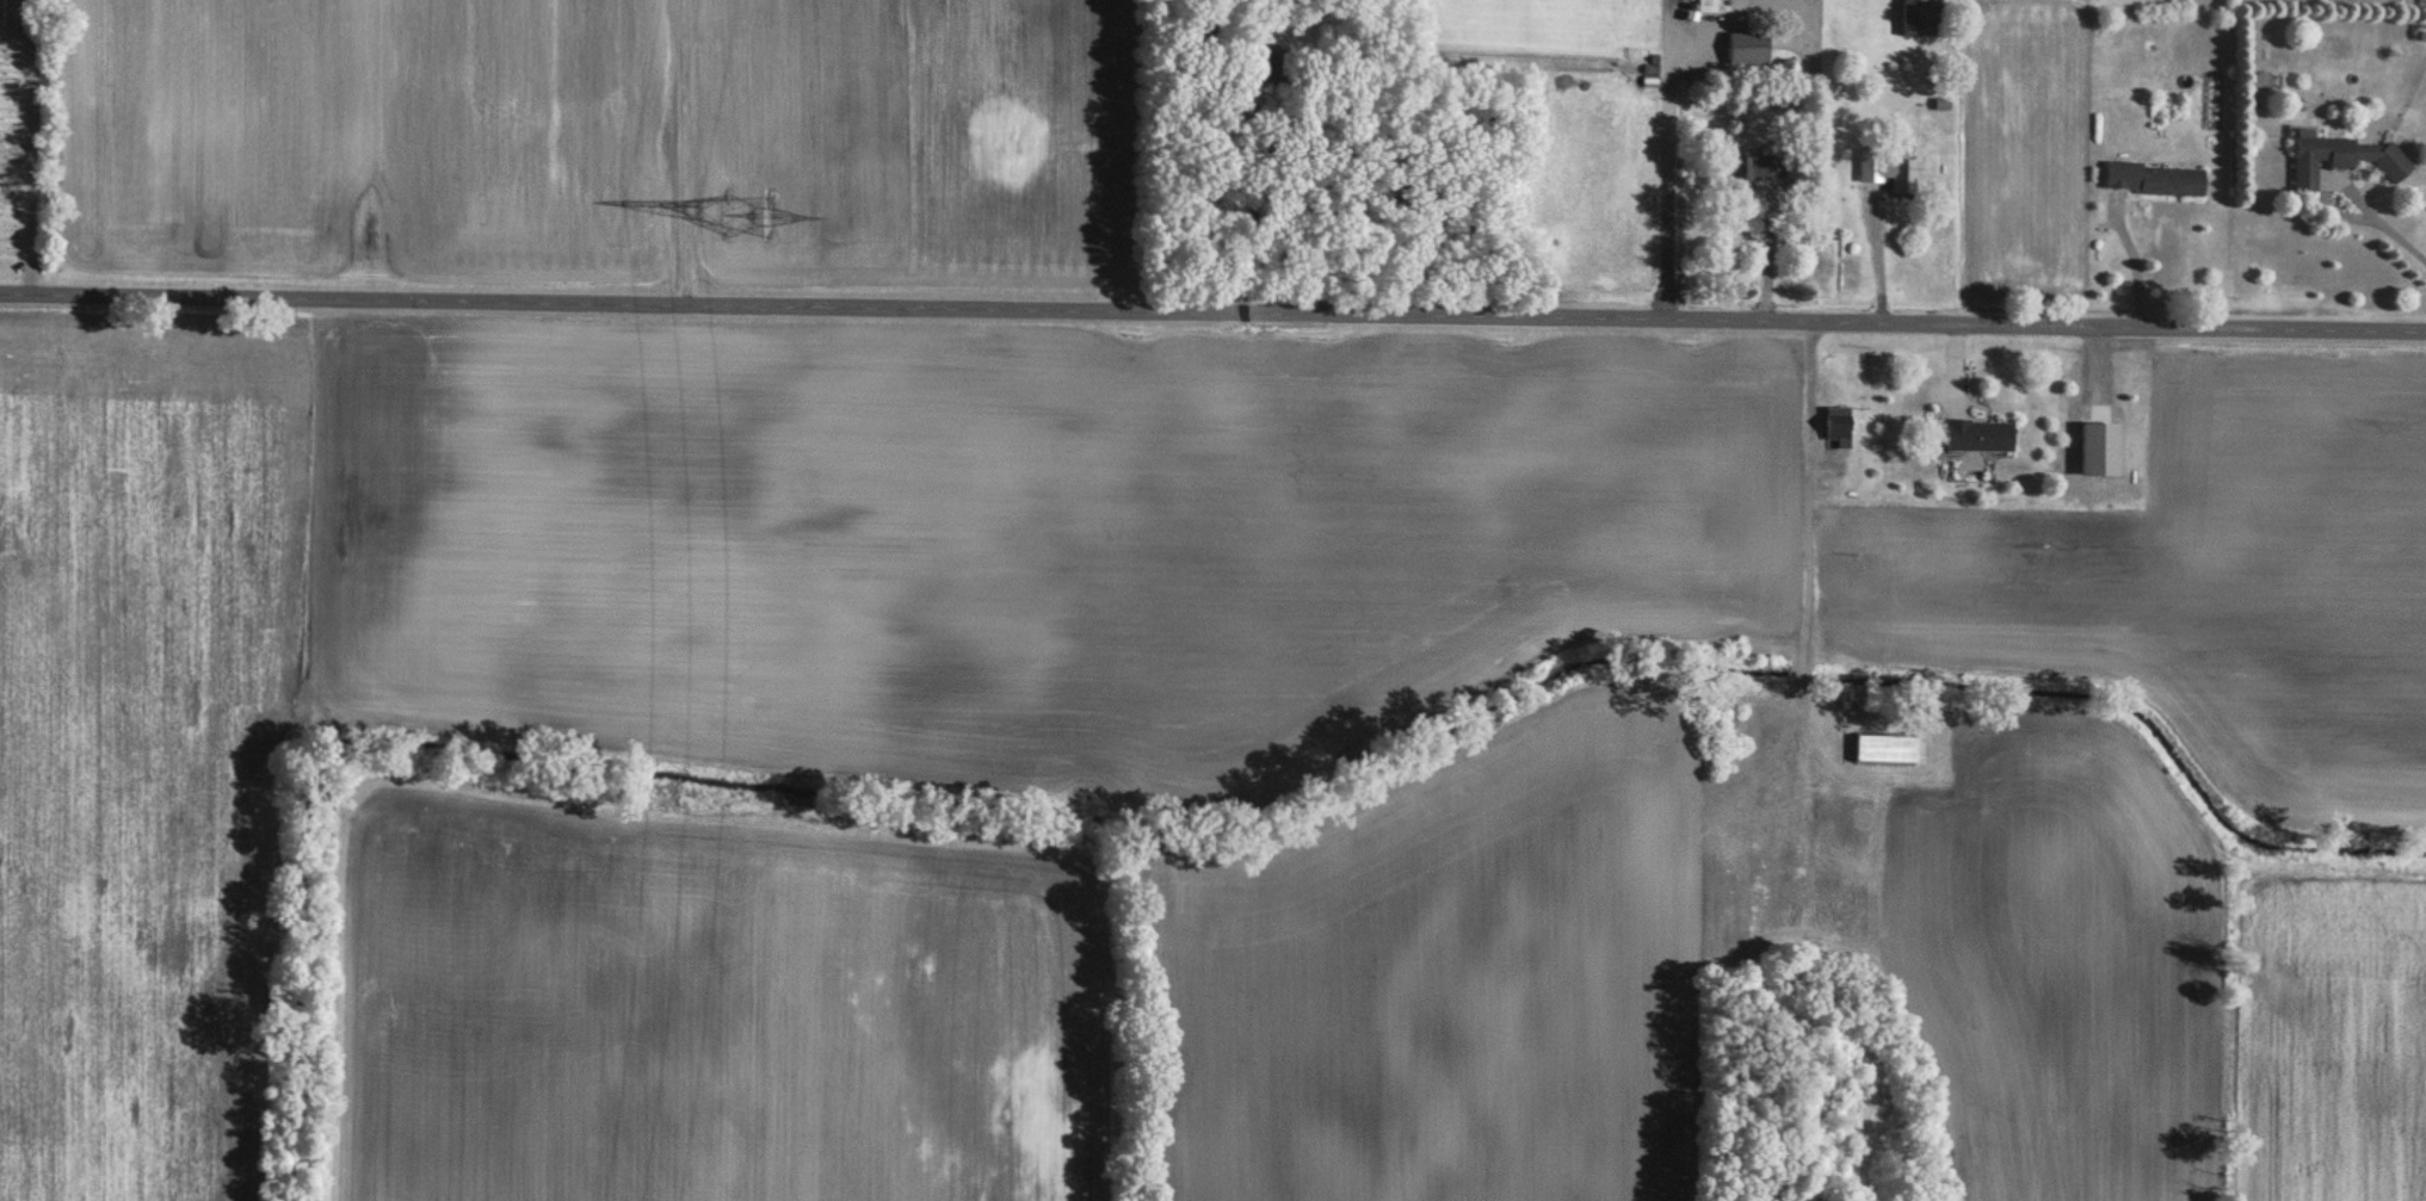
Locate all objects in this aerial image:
building: (1711, 6)
building: (1922, 17)
building: (1749, 51)
building: (1254, 64)
road: (30, 159)
building: (2344, 159)
building: (1758, 169)
building: (1890, 169)
building: (2155, 179)
power tower: (746, 206)
road: (2373, 227)
road: (1767, 253)
road: (2135, 262)
road: (1212, 312)
building: (1839, 428)
building: (1981, 435)
building: (2103, 450)
building: (1888, 750)
building: (1866, 818)

